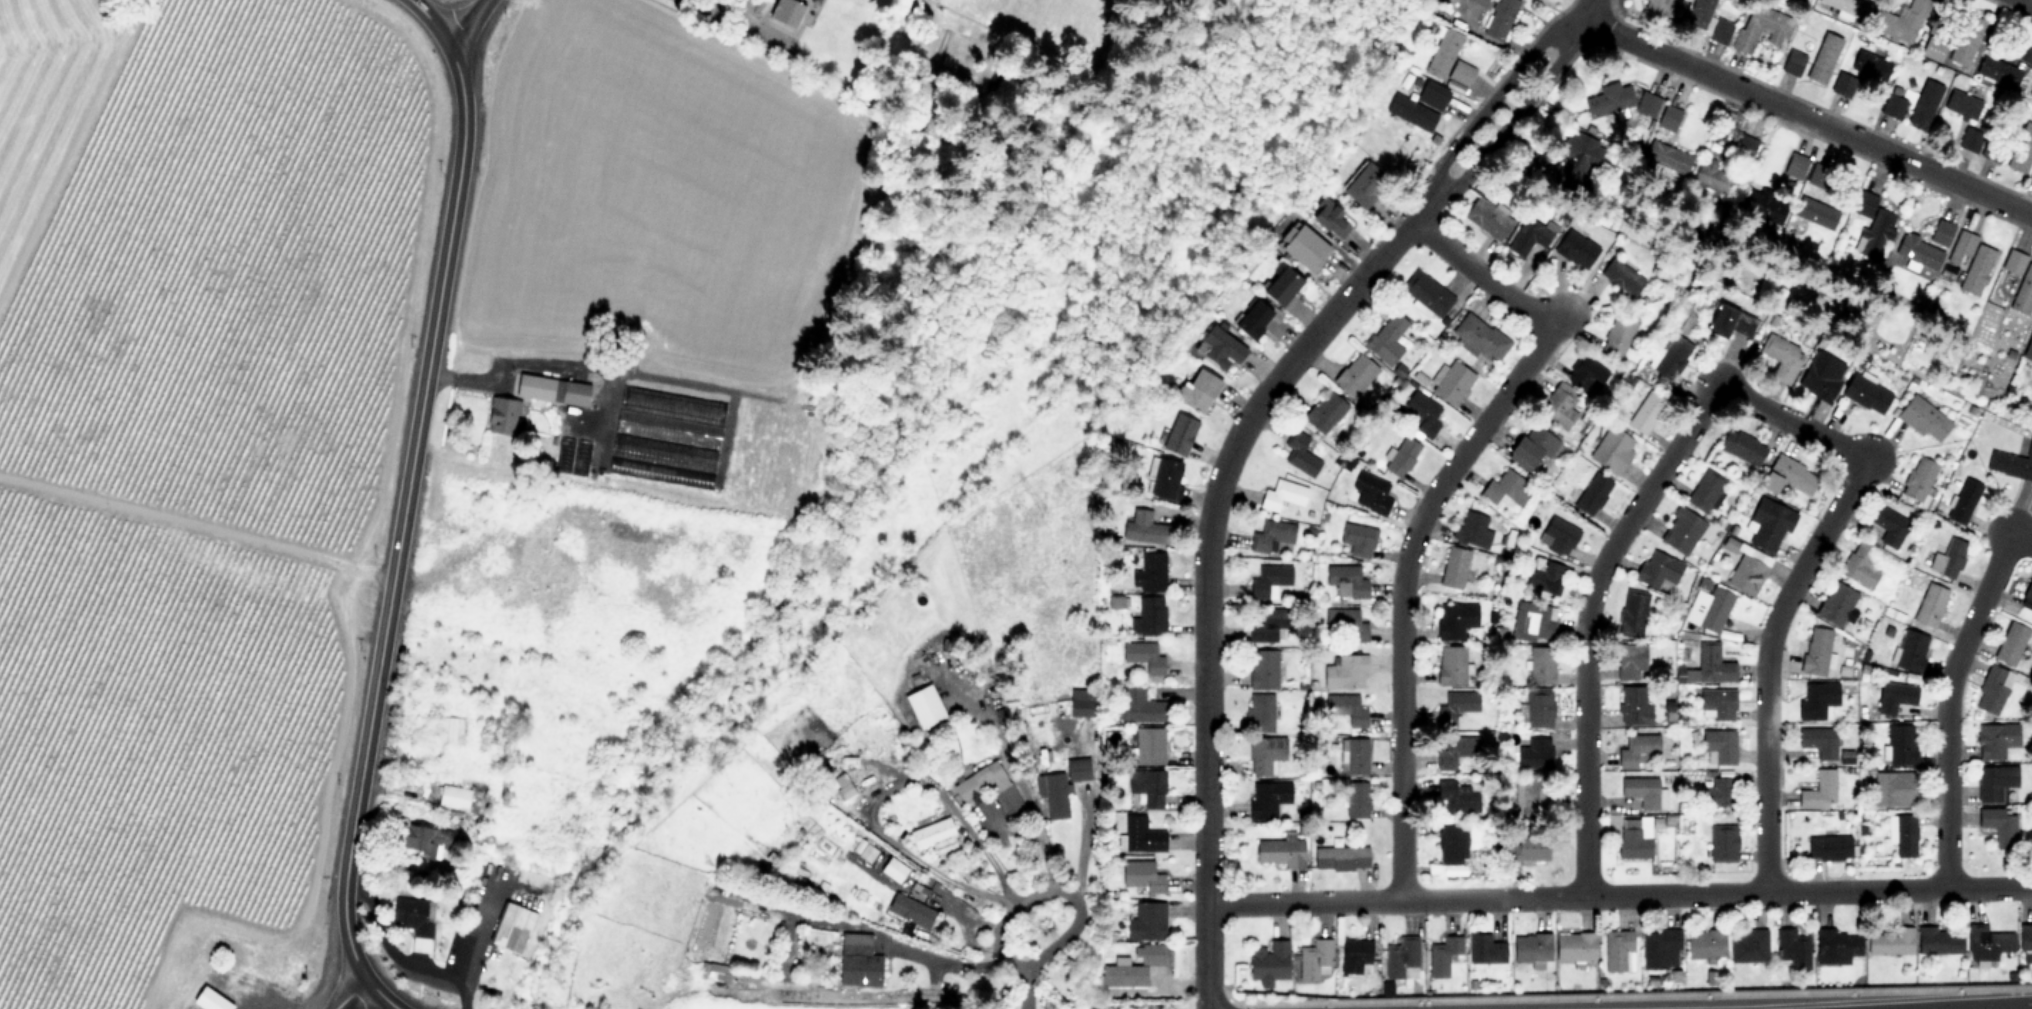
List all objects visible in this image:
road: (2030, 0)
building: (1475, 1)
building: (1655, 6)
building: (1848, 6)
building: (786, 13)
road: (722, 17)
road: (1580, 17)
building: (1499, 18)
road: (429, 21)
building: (1707, 21)
building: (1900, 22)
road: (465, 23)
building: (1761, 28)
building: (1965, 39)
building: (1933, 47)
building: (1442, 53)
building: (1823, 58)
building: (1792, 63)
building: (1870, 65)
building: (1997, 70)
building: (1459, 73)
building: (2031, 89)
building: (1431, 94)
building: (1608, 99)
building: (1894, 102)
building: (1647, 104)
building: (1924, 104)
building: (1962, 104)
road: (1488, 110)
building: (1411, 111)
road: (1806, 116)
building: (1669, 118)
road: (1505, 126)
building: (1967, 139)
building: (2021, 149)
building: (1991, 150)
road: (72, 153)
building: (1667, 156)
building: (1575, 160)
building: (1795, 166)
building: (1711, 175)
building: (2030, 176)
building: (1364, 183)
building: (1760, 206)
building: (1814, 213)
building: (1487, 217)
building: (1330, 218)
building: (1871, 226)
building: (1940, 232)
building: (1529, 235)
building: (1305, 248)
building: (1575, 249)
building: (1918, 252)
building: (1970, 260)
building: (1622, 276)
building: (2020, 281)
building: (1281, 286)
building: (1425, 293)
building: (1253, 319)
building: (1726, 321)
building: (1617, 336)
building: (1480, 337)
building: (1386, 339)
building: (1218, 348)
building: (2028, 349)
building: (1671, 356)
building: (1780, 357)
building: (1354, 374)
building: (1586, 374)
building: (1821, 375)
building: (1452, 382)
building: (1197, 389)
building: (551, 390)
building: (1865, 393)
building: (1557, 406)
building: (1324, 411)
building: (1422, 411)
building: (1645, 412)
building: (504, 415)
building: (1924, 418)
building: (667, 427)
building: (1179, 434)
building: (1741, 446)
building: (1528, 448)
building: (1612, 449)
building: (1299, 453)
building: (1401, 457)
building: (2011, 463)
crop: (163, 469)
building: (1789, 475)
building: (1918, 478)
building: (1165, 479)
building: (1505, 487)
building: (1704, 489)
building: (1372, 491)
building: (1591, 493)
building: (1282, 494)
building: (1963, 501)
road: (1425, 507)
road: (404, 512)
building: (1769, 523)
building: (1888, 525)
road: (197, 527)
building: (1143, 527)
building: (1473, 529)
building: (1681, 530)
building: (1557, 535)
building: (1272, 536)
building: (1357, 539)
road: (2020, 539)
building: (1948, 559)
building: (1860, 566)
building: (1453, 567)
building: (1657, 569)
road: (1205, 570)
building: (1151, 571)
building: (1746, 575)
building: (1544, 576)
building: (1268, 580)
building: (1346, 580)
road: (1793, 586)
building: (2027, 594)
building: (1836, 604)
building: (1929, 606)
building: (1714, 609)
building: (1632, 613)
building: (1148, 617)
building: (1455, 620)
building: (1533, 622)
road: (1586, 622)
building: (1346, 623)
building: (1262, 628)
building: (2011, 644)
building: (1815, 652)
building: (1910, 652)
building: (1143, 657)
building: (1631, 661)
building: (1712, 664)
building: (1450, 666)
building: (1540, 666)
building: (1263, 670)
building: (1345, 672)
building: (1992, 690)
building: (1893, 697)
building: (1816, 701)
building: (1082, 704)
building: (1717, 704)
road: (1947, 705)
building: (1140, 706)
building: (1631, 706)
building: (923, 707)
building: (1455, 707)
building: (1345, 709)
building: (1538, 710)
building: (1260, 713)
building: (449, 730)
building: (1996, 740)
building: (1818, 742)
building: (1899, 745)
building: (1148, 747)
building: (1718, 748)
building: (1636, 750)
building: (1457, 752)
building: (1534, 755)
building: (1354, 759)
building: (1260, 766)
building: (1995, 783)
building: (842, 787)
building: (987, 787)
building: (1147, 787)
building: (1059, 788)
road: (877, 789)
building: (1818, 791)
building: (1640, 792)
building: (1889, 792)
road: (1021, 793)
building: (1717, 794)
building: (1532, 795)
building: (453, 798)
building: (1267, 799)
building: (1452, 799)
building: (1356, 800)
building: (1999, 826)
building: (933, 836)
building: (1139, 836)
building: (1902, 836)
building: (424, 841)
building: (1631, 841)
building: (1722, 844)
building: (1828, 847)
building: (1452, 848)
building: (1280, 852)
building: (1524, 852)
building: (1340, 859)
building: (1141, 877)
road: (1055, 889)
road: (1619, 895)
building: (910, 911)
building: (414, 917)
building: (1145, 922)
building: (511, 925)
road: (471, 936)
building: (1939, 941)
building: (2025, 941)
building: (1890, 942)
building: (1987, 943)
building: (1705, 945)
building: (1836, 945)
building: (1747, 946)
building: (1575, 947)
building: (1531, 949)
building: (1660, 949)
building: (1792, 949)
building: (1485, 950)
building: (1618, 951)
building: (1442, 955)
building: (1355, 957)
road: (398, 959)
building: (1401, 959)
road: (949, 960)
building: (1314, 960)
building: (857, 962)
building: (1268, 962)
building: (1131, 968)
building: (716, 972)
road: (352, 992)
road: (1028, 992)
road: (386, 993)
road: (1888, 1005)

